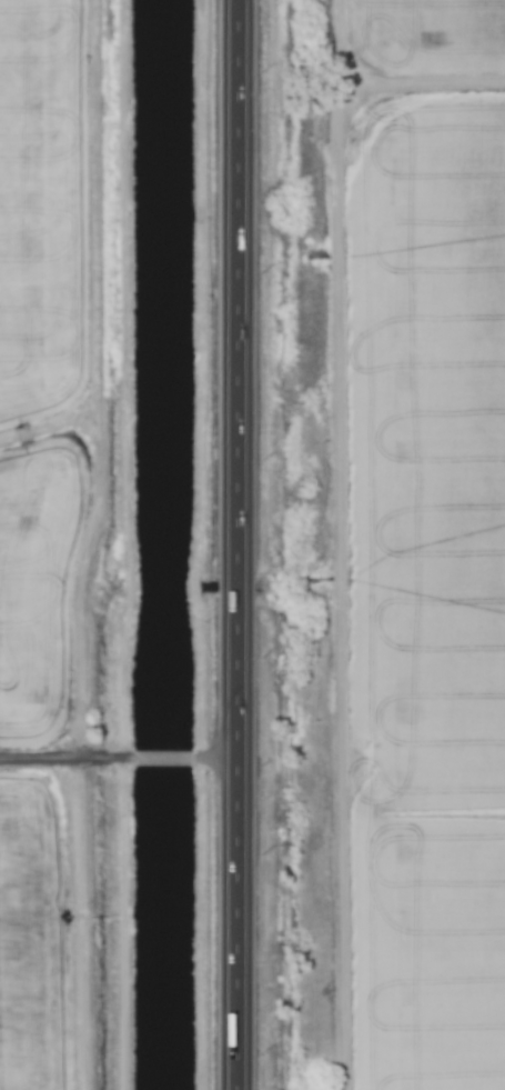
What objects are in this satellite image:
river: (169, 544)
road: (235, 544)
road: (63, 761)
road: (165, 761)
road: (219, 761)

